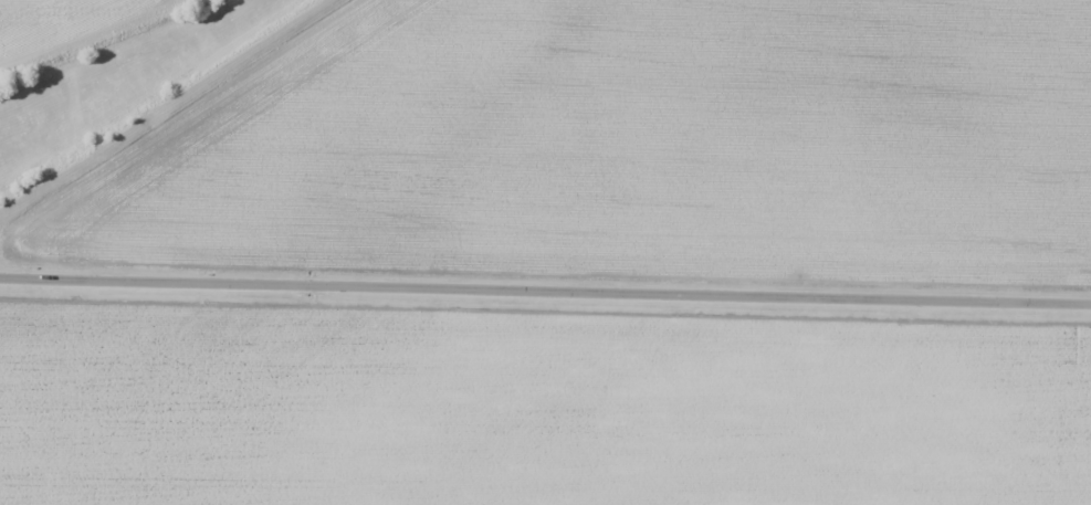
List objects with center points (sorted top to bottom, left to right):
road: (545, 286)

